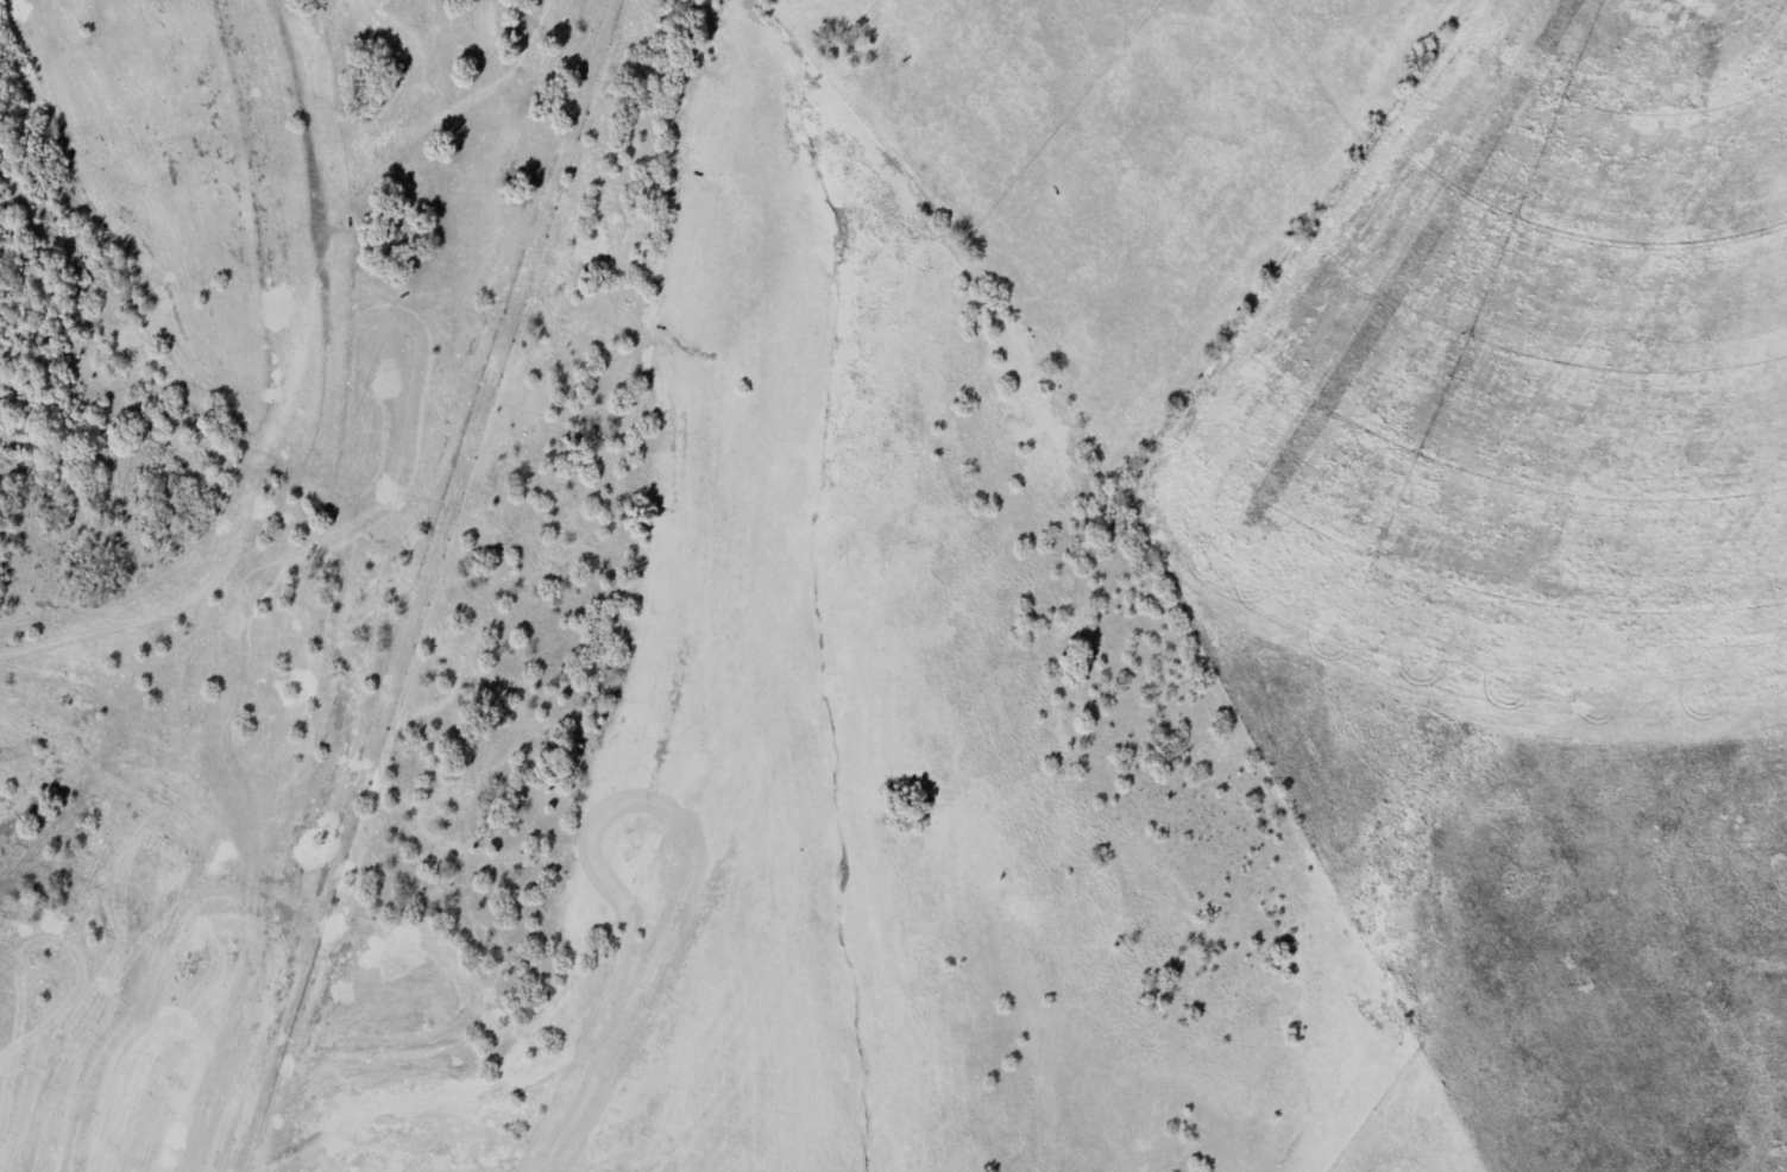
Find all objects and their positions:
road: (610, 39)

